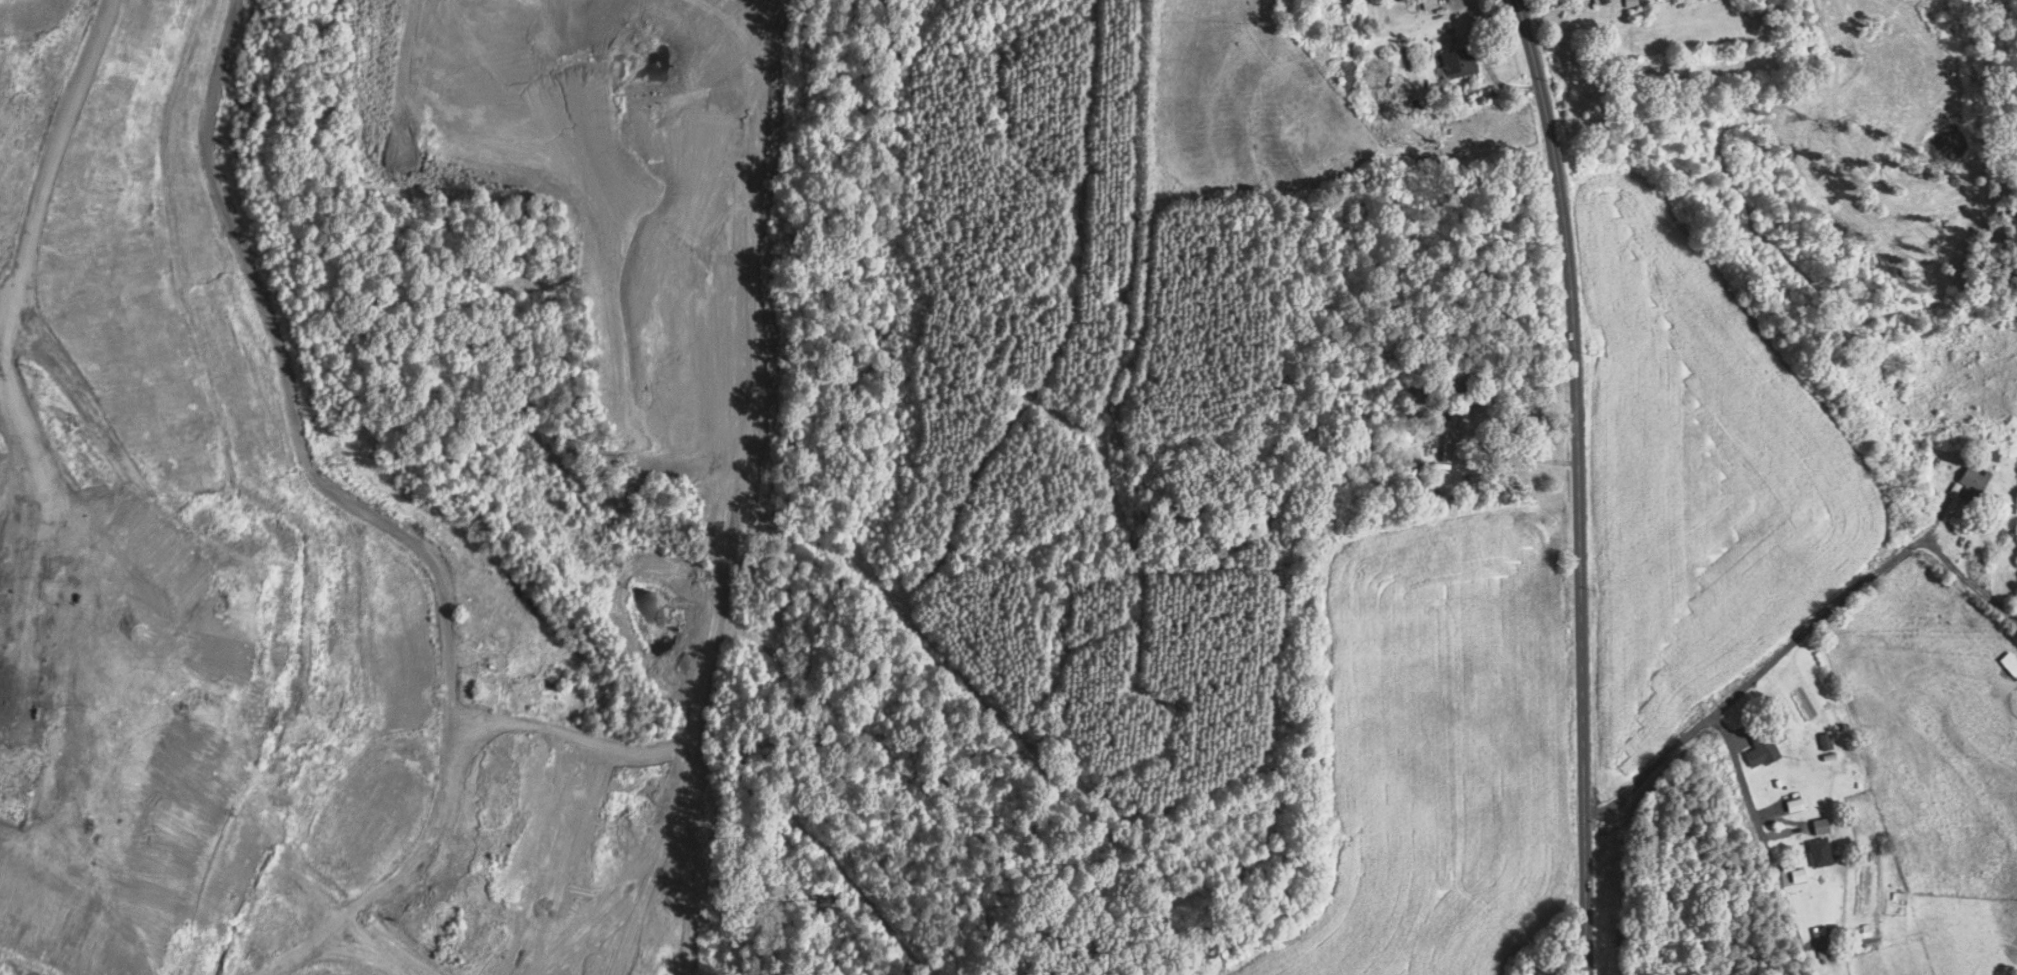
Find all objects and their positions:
building: (1634, 3)
building: (1432, 4)
building: (1462, 63)
building: (1503, 437)
building: (1975, 482)
road: (1578, 485)
road: (1797, 638)
building: (1829, 741)
building: (1763, 743)
building: (1797, 802)
building: (1824, 827)
road: (1763, 843)
building: (1823, 853)
building: (1869, 933)

